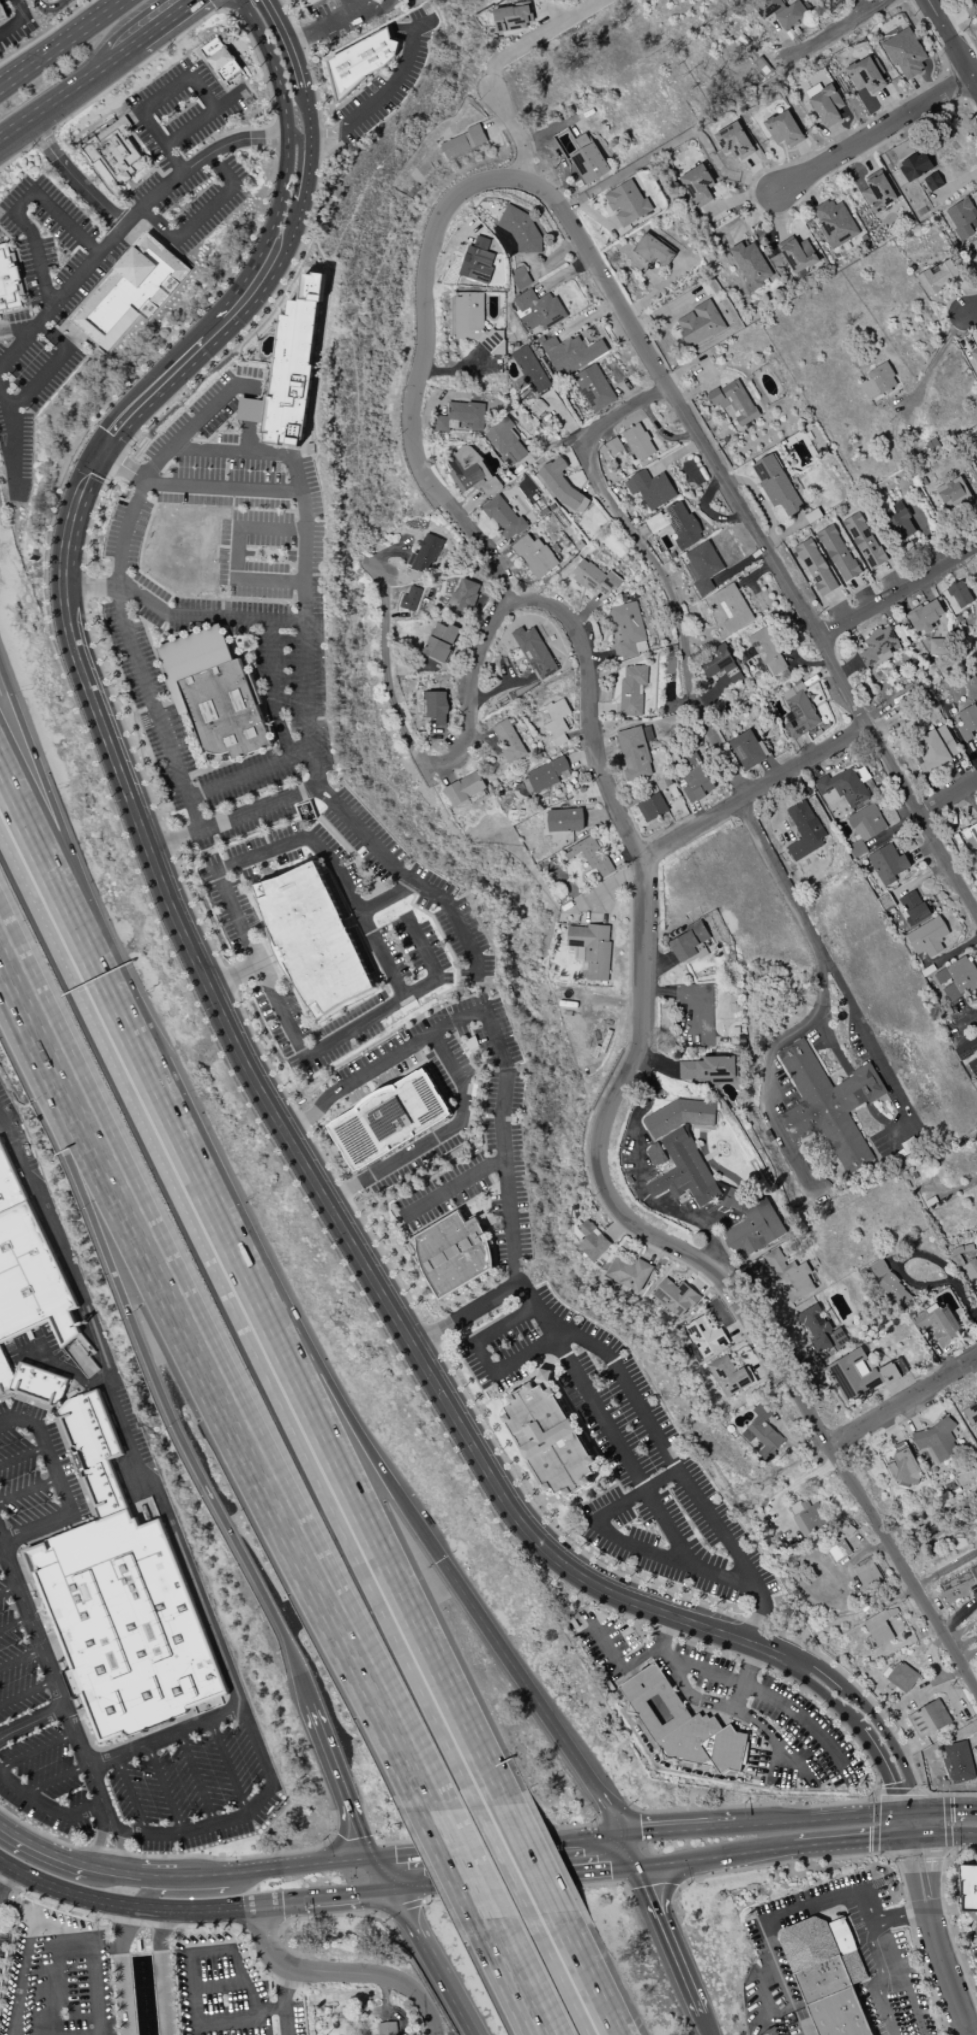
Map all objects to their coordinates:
road: (224, 1)
road: (226, 1)
building: (380, 1)
building: (310, 2)
road: (925, 2)
road: (927, 2)
road: (225, 6)
building: (766, 7)
building: (800, 8)
road: (48, 9)
building: (970, 10)
road: (945, 11)
building: (1, 14)
building: (511, 17)
building: (788, 17)
road: (18, 18)
road: (165, 19)
road: (951, 22)
road: (188, 30)
road: (323, 30)
road: (45, 32)
road: (537, 37)
road: (63, 42)
road: (787, 42)
road: (816, 42)
road: (952, 46)
road: (126, 47)
building: (904, 52)
building: (222, 59)
building: (361, 61)
building: (761, 66)
building: (758, 75)
building: (865, 75)
road: (957, 81)
road: (920, 89)
road: (388, 92)
road: (57, 96)
road: (152, 102)
building: (826, 104)
road: (888, 104)
road: (206, 117)
road: (557, 126)
building: (783, 128)
road: (823, 131)
road: (516, 132)
road: (872, 133)
road: (289, 137)
building: (733, 140)
building: (463, 141)
road: (312, 142)
road: (671, 143)
building: (113, 153)
road: (806, 155)
road: (559, 157)
road: (863, 157)
building: (588, 162)
building: (914, 165)
road: (759, 175)
road: (71, 176)
road: (754, 177)
road: (299, 181)
building: (932, 181)
building: (697, 184)
road: (955, 184)
road: (806, 190)
building: (877, 191)
building: (973, 193)
road: (738, 198)
building: (627, 202)
road: (19, 206)
road: (776, 215)
road: (203, 216)
road: (595, 216)
road: (753, 217)
building: (961, 218)
road: (612, 222)
road: (127, 223)
building: (834, 223)
road: (974, 226)
building: (522, 231)
building: (974, 249)
building: (652, 250)
building: (797, 254)
building: (476, 261)
building: (750, 264)
building: (519, 277)
building: (936, 277)
road: (21, 279)
road: (653, 280)
building: (7, 281)
road: (605, 284)
road: (659, 290)
road: (967, 290)
building: (130, 291)
road: (667, 308)
building: (536, 309)
road: (970, 309)
building: (471, 321)
building: (699, 323)
road: (13, 328)
building: (570, 353)
building: (974, 354)
road: (933, 360)
road: (418, 362)
road: (693, 362)
road: (49, 366)
building: (291, 367)
road: (719, 369)
building: (528, 370)
road: (722, 376)
road: (745, 378)
building: (880, 379)
building: (593, 387)
road: (693, 392)
building: (734, 401)
road: (627, 410)
building: (460, 416)
road: (12, 441)
building: (504, 441)
building: (630, 443)
road: (200, 449)
building: (975, 454)
building: (469, 471)
building: (561, 485)
building: (776, 485)
building: (649, 488)
road: (757, 490)
building: (950, 492)
road: (758, 499)
building: (812, 515)
building: (502, 517)
road: (799, 517)
building: (675, 524)
building: (899, 524)
road: (780, 534)
road: (926, 535)
building: (863, 540)
road: (117, 542)
building: (837, 552)
building: (424, 554)
building: (534, 556)
building: (814, 566)
building: (701, 567)
road: (954, 568)
building: (976, 573)
building: (595, 578)
road: (888, 580)
road: (937, 582)
road: (924, 590)
road: (897, 591)
road: (862, 593)
building: (959, 594)
building: (463, 596)
building: (409, 599)
building: (732, 607)
road: (839, 607)
road: (675, 611)
road: (179, 614)
building: (924, 615)
road: (146, 622)
road: (895, 622)
building: (627, 629)
road: (159, 630)
road: (852, 637)
building: (440, 641)
building: (938, 645)
building: (877, 646)
building: (766, 651)
road: (823, 651)
building: (534, 652)
building: (188, 655)
road: (848, 663)
building: (719, 664)
road: (386, 676)
road: (161, 677)
road: (471, 689)
building: (631, 689)
road: (273, 690)
building: (436, 706)
building: (221, 708)
building: (556, 721)
building: (967, 721)
road: (883, 725)
road: (135, 734)
building: (946, 740)
building: (507, 741)
road: (974, 746)
building: (747, 749)
building: (931, 750)
building: (634, 752)
road: (193, 760)
road: (317, 768)
road: (962, 768)
road: (250, 773)
building: (542, 775)
building: (693, 778)
road: (43, 782)
building: (842, 786)
building: (463, 789)
road: (330, 791)
road: (752, 793)
road: (946, 795)
road: (322, 798)
road: (220, 804)
building: (651, 807)
road: (216, 811)
building: (563, 820)
building: (864, 827)
building: (803, 830)
road: (32, 831)
building: (969, 835)
road: (342, 840)
building: (590, 855)
road: (194, 856)
building: (886, 864)
road: (338, 869)
road: (264, 875)
road: (419, 884)
road: (599, 886)
road: (387, 897)
building: (913, 906)
building: (927, 937)
building: (312, 938)
building: (687, 943)
building: (589, 949)
road: (827, 963)
road: (235, 975)
building: (956, 978)
road: (285, 979)
road: (471, 998)
road: (19, 1000)
road: (235, 1000)
road: (237, 1040)
road: (640, 1046)
road: (138, 1048)
road: (312, 1050)
building: (967, 1054)
road: (840, 1057)
building: (708, 1070)
road: (381, 1088)
road: (763, 1090)
building: (827, 1104)
building: (679, 1116)
building: (389, 1119)
road: (438, 1135)
road: (497, 1149)
building: (679, 1169)
building: (8, 1185)
road: (963, 1185)
road: (452, 1186)
road: (456, 1208)
road: (480, 1212)
building: (750, 1223)
road: (488, 1226)
road: (491, 1227)
building: (590, 1240)
road: (513, 1252)
building: (454, 1254)
building: (628, 1272)
building: (971, 1273)
building: (788, 1276)
building: (30, 1280)
road: (957, 1284)
building: (891, 1290)
building: (674, 1297)
road: (468, 1313)
road: (242, 1319)
building: (937, 1324)
building: (820, 1330)
building: (705, 1336)
road: (227, 1348)
road: (551, 1352)
road: (487, 1361)
building: (860, 1374)
building: (4, 1375)
road: (327, 1376)
building: (729, 1377)
road: (156, 1379)
building: (37, 1383)
road: (571, 1406)
building: (970, 1413)
road: (118, 1415)
road: (229, 1424)
road: (857, 1428)
building: (761, 1434)
building: (548, 1437)
building: (935, 1440)
road: (620, 1448)
building: (92, 1449)
road: (23, 1456)
building: (904, 1468)
parking lot: (20, 1475)
road: (61, 1487)
road: (357, 1488)
road: (29, 1490)
road: (577, 1494)
road: (596, 1496)
building: (807, 1514)
road: (622, 1540)
building: (837, 1551)
road: (2, 1555)
road: (944, 1568)
road: (901, 1571)
building: (974, 1572)
building: (866, 1574)
road: (8, 1589)
building: (974, 1594)
road: (14, 1624)
building: (123, 1624)
building: (879, 1626)
road: (966, 1654)
road: (609, 1655)
road: (638, 1656)
road: (20, 1658)
road: (48, 1667)
road: (743, 1676)
building: (901, 1677)
road: (27, 1692)
road: (528, 1695)
road: (822, 1695)
road: (708, 1701)
road: (783, 1704)
road: (873, 1716)
road: (724, 1718)
road: (37, 1719)
building: (928, 1719)
building: (686, 1731)
road: (5, 1732)
road: (5, 1736)
road: (167, 1736)
road: (752, 1748)
road: (37, 1750)
road: (267, 1762)
building: (958, 1762)
road: (229, 1765)
road: (873, 1769)
road: (879, 1769)
road: (197, 1776)
road: (56, 1778)
road: (339, 1780)
parking lot: (182, 1781)
road: (164, 1786)
road: (131, 1793)
road: (924, 1793)
road: (875, 1796)
road: (900, 1796)
road: (45, 1804)
road: (947, 1808)
traffic signals: (919, 1809)
road: (904, 1810)
traffic signals: (889, 1812)
road: (812, 1818)
road: (914, 1822)
road: (899, 1824)
road: (98, 1828)
road: (182, 1828)
road: (675, 1828)
road: (114, 1830)
traffic signals: (615, 1832)
road: (943, 1832)
road: (553, 1836)
traffic signals: (910, 1836)
road: (622, 1840)
road: (851, 1841)
road: (473, 1843)
road: (43, 1850)
road: (411, 1851)
road: (715, 1855)
road: (634, 1856)
traffic signals: (369, 1857)
road: (538, 1857)
road: (508, 1859)
road: (452, 1860)
traffic signals: (639, 1864)
road: (479, 1865)
road: (594, 1868)
road: (274, 1869)
road: (106, 1870)
road: (131, 1874)
road: (158, 1876)
road: (379, 1876)
road: (534, 1876)
road: (2, 1878)
road: (494, 1881)
road: (431, 1889)
building: (968, 1889)
road: (61, 1891)
road: (191, 1895)
traffic signals: (391, 1895)
road: (346, 1899)
road: (280, 1904)
road: (811, 1905)
road: (147, 1908)
road: (398, 1908)
road: (212, 1909)
road: (931, 1937)
road: (664, 1942)
road: (74, 1944)
road: (875, 1952)
road: (188, 1966)
road: (120, 1970)
road: (160, 1971)
road: (339, 1972)
road: (565, 1973)
parking lot: (56, 1974)
road: (508, 1974)
building: (827, 1975)
road: (435, 1978)
road: (535, 1978)
road: (899, 1979)
road: (214, 1984)
road: (600, 1984)
parking lot: (218, 1985)
road: (54, 1994)
road: (761, 1994)
road: (787, 1994)
road: (281, 2000)
fountain: (143, 2004)
road: (266, 2009)
road: (697, 2027)
building: (384, 2028)
road: (974, 2033)

